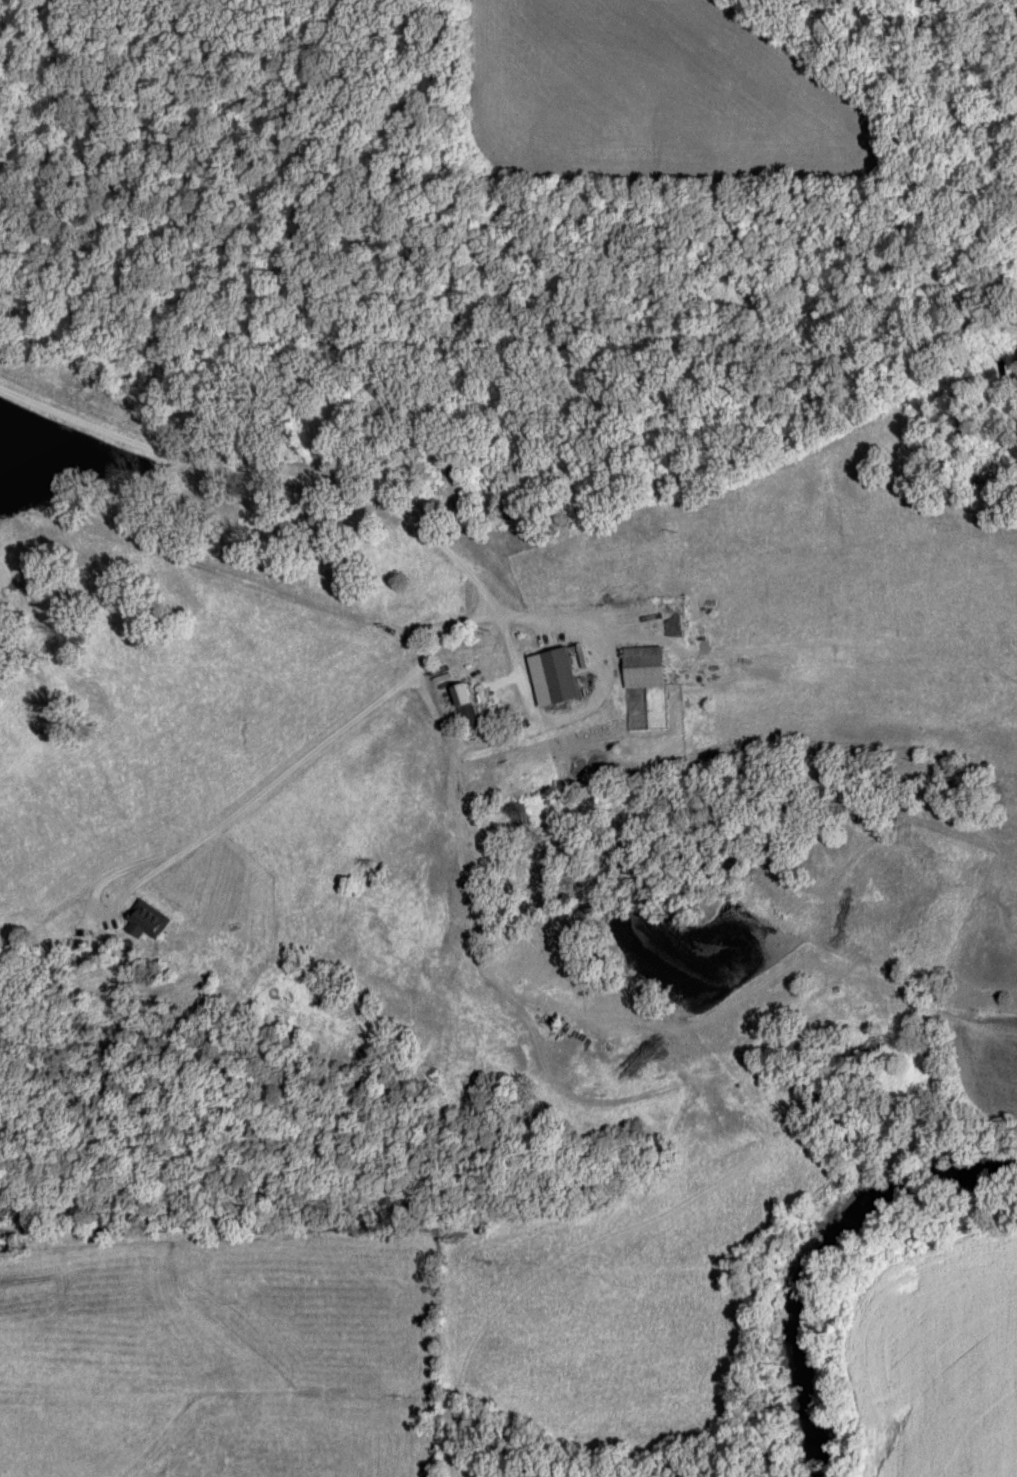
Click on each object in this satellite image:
road: (399, 635)
building: (704, 645)
building: (643, 670)
building: (559, 678)
building: (522, 701)
building: (466, 706)
river: (807, 1249)

